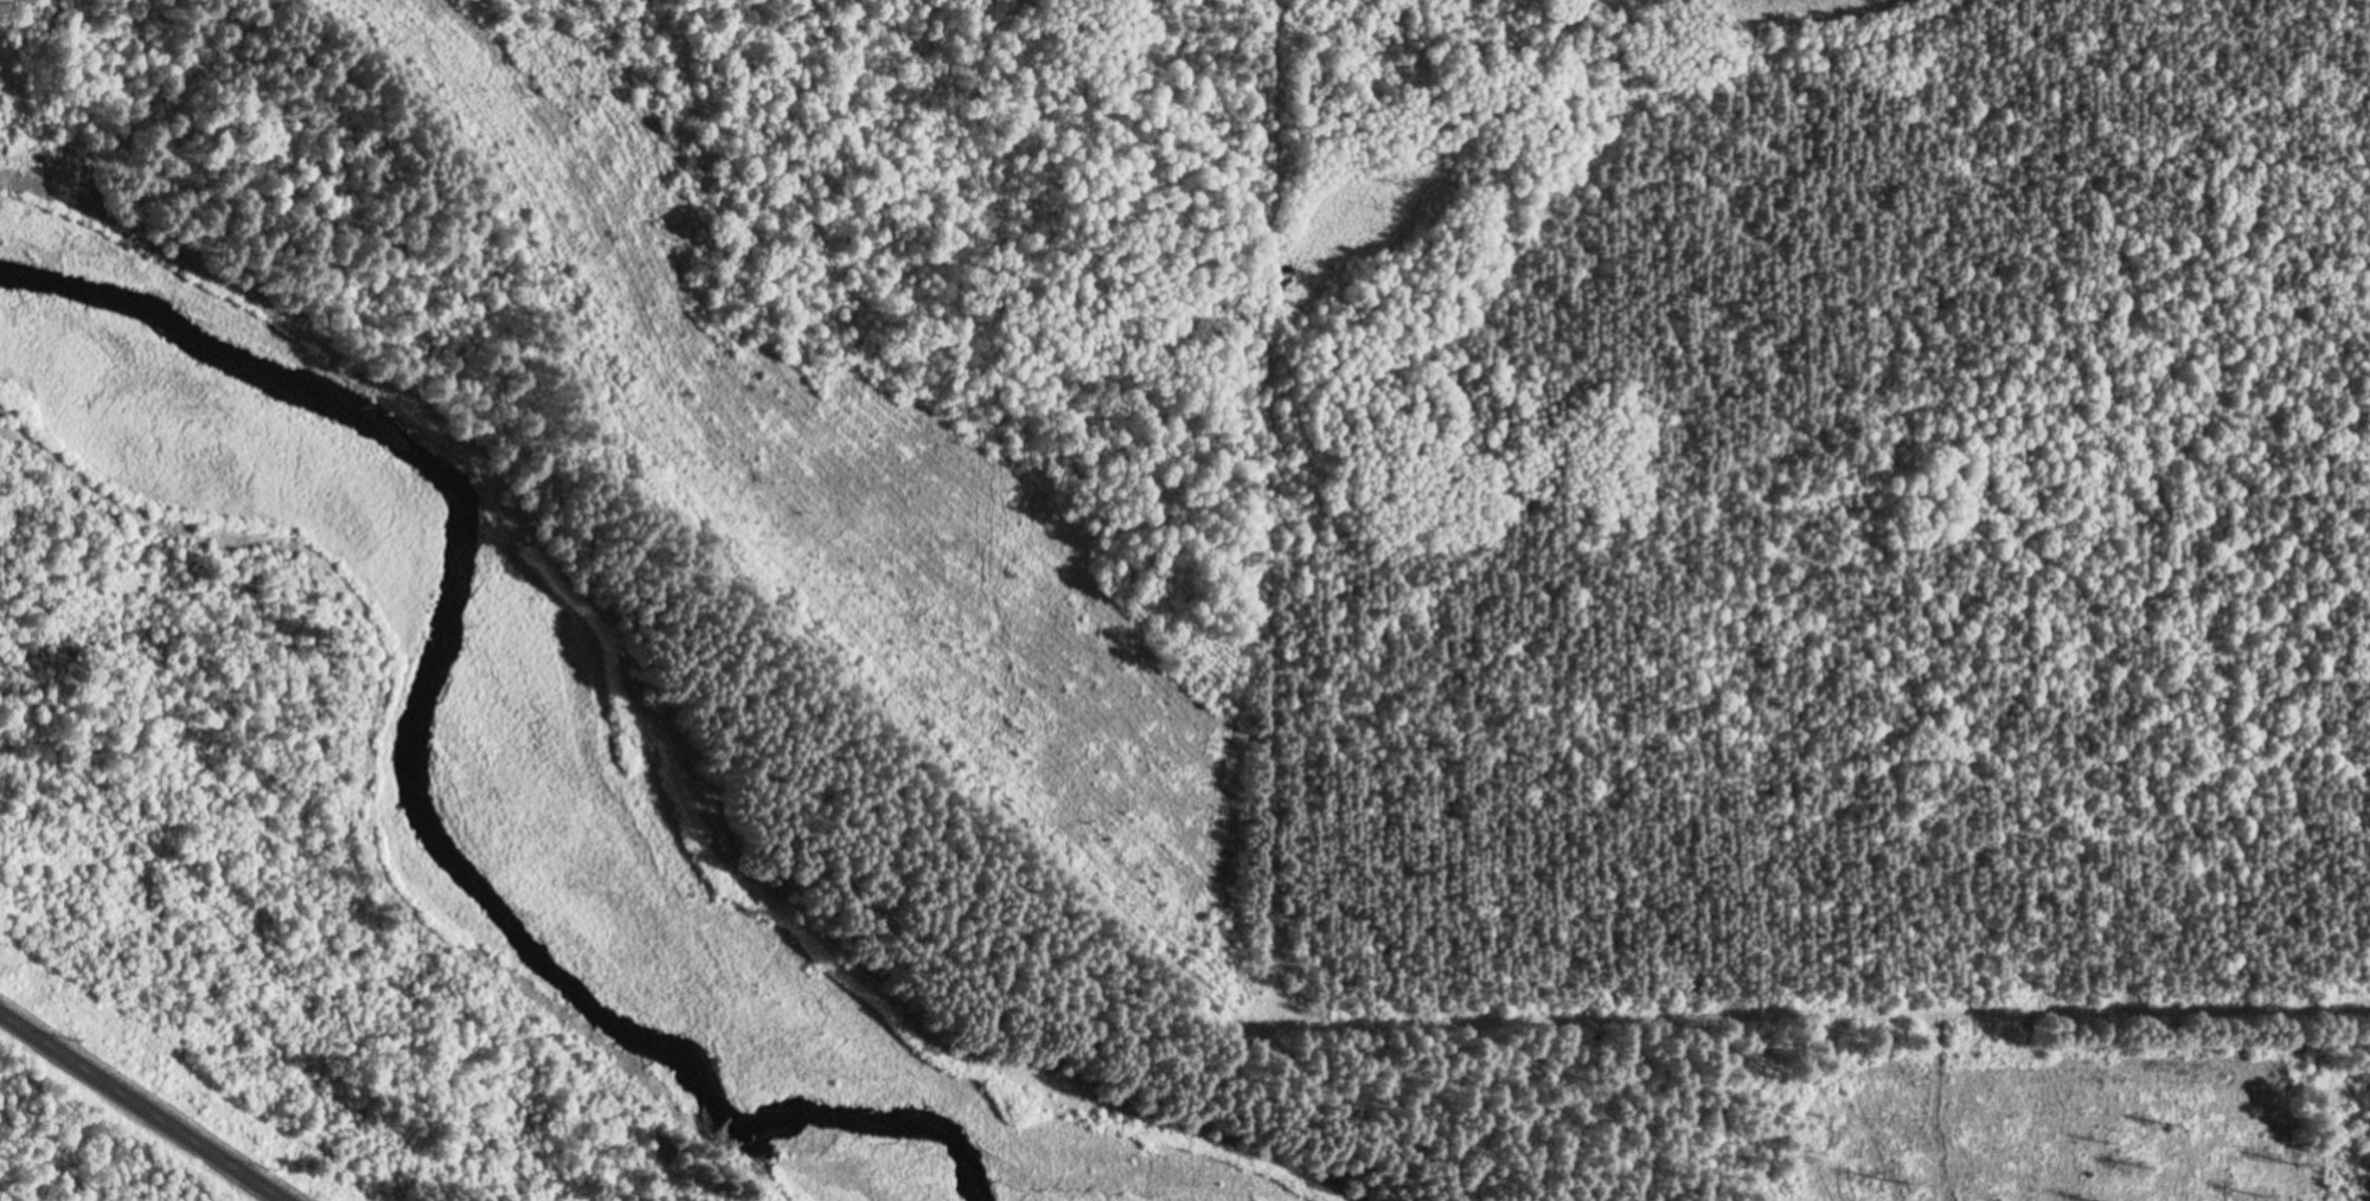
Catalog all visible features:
road: (1775, 49)
river: (537, 791)
road: (1313, 1022)
road: (145, 1107)

